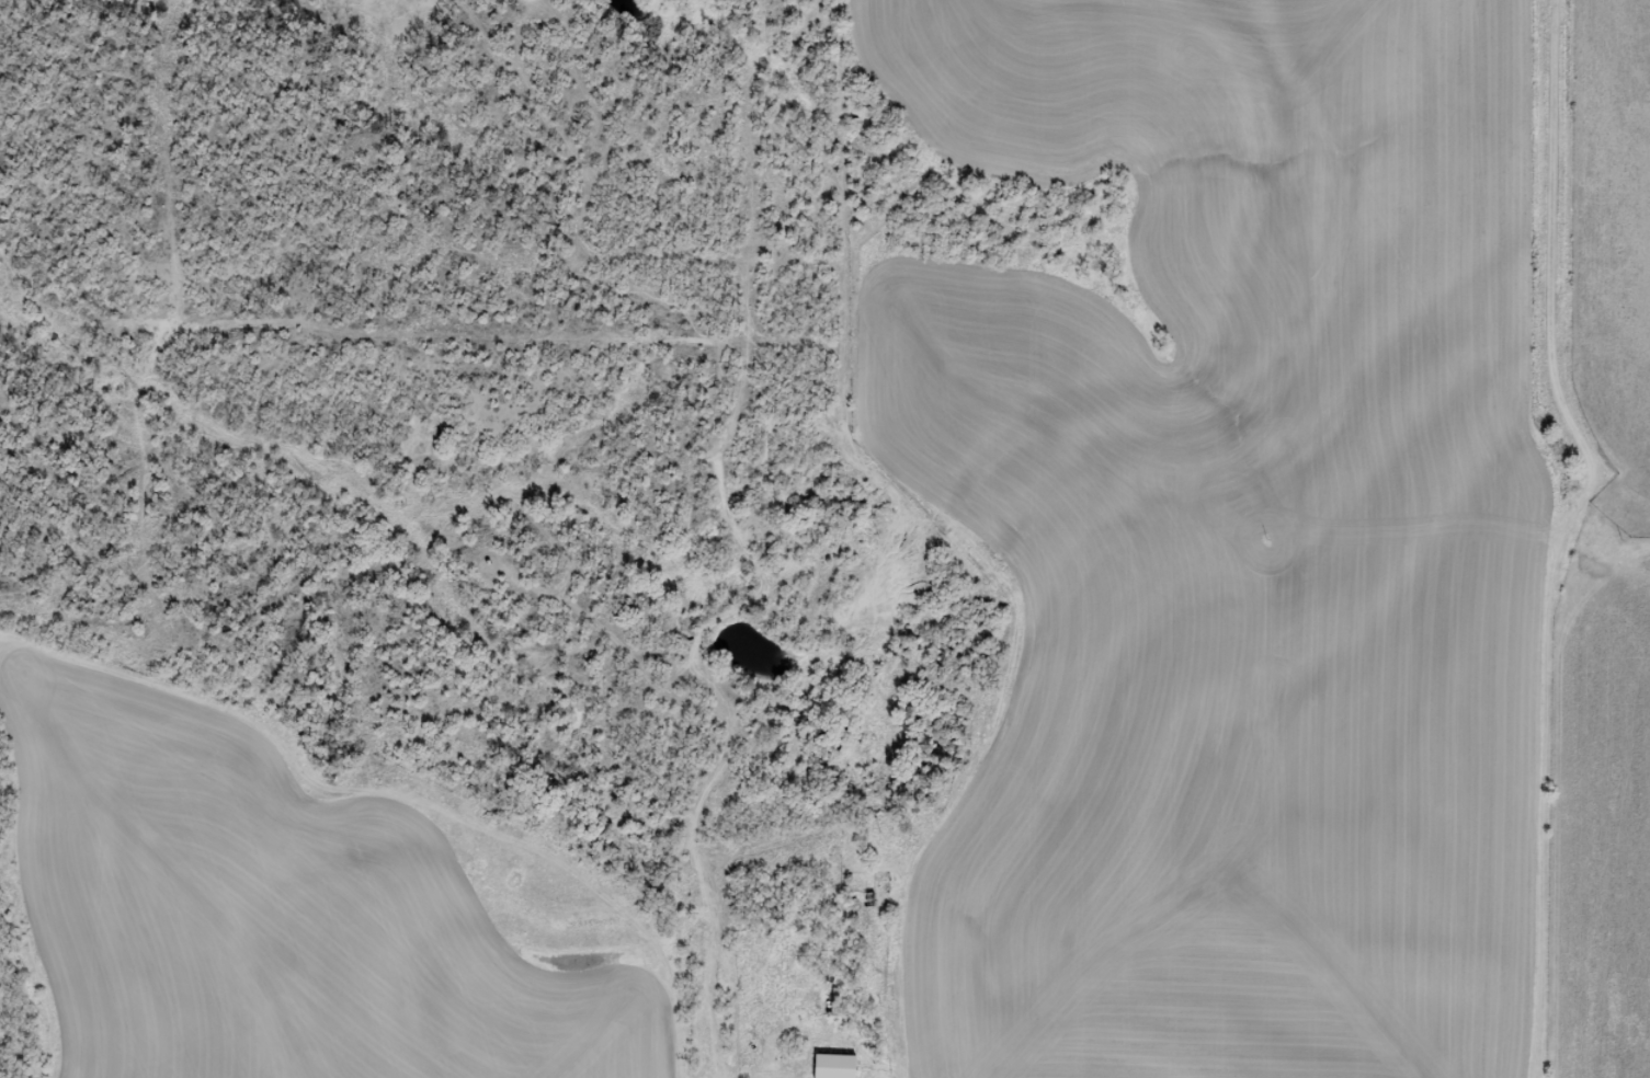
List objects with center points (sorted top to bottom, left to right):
road: (1552, 239)
road: (1544, 771)
road: (830, 1044)

